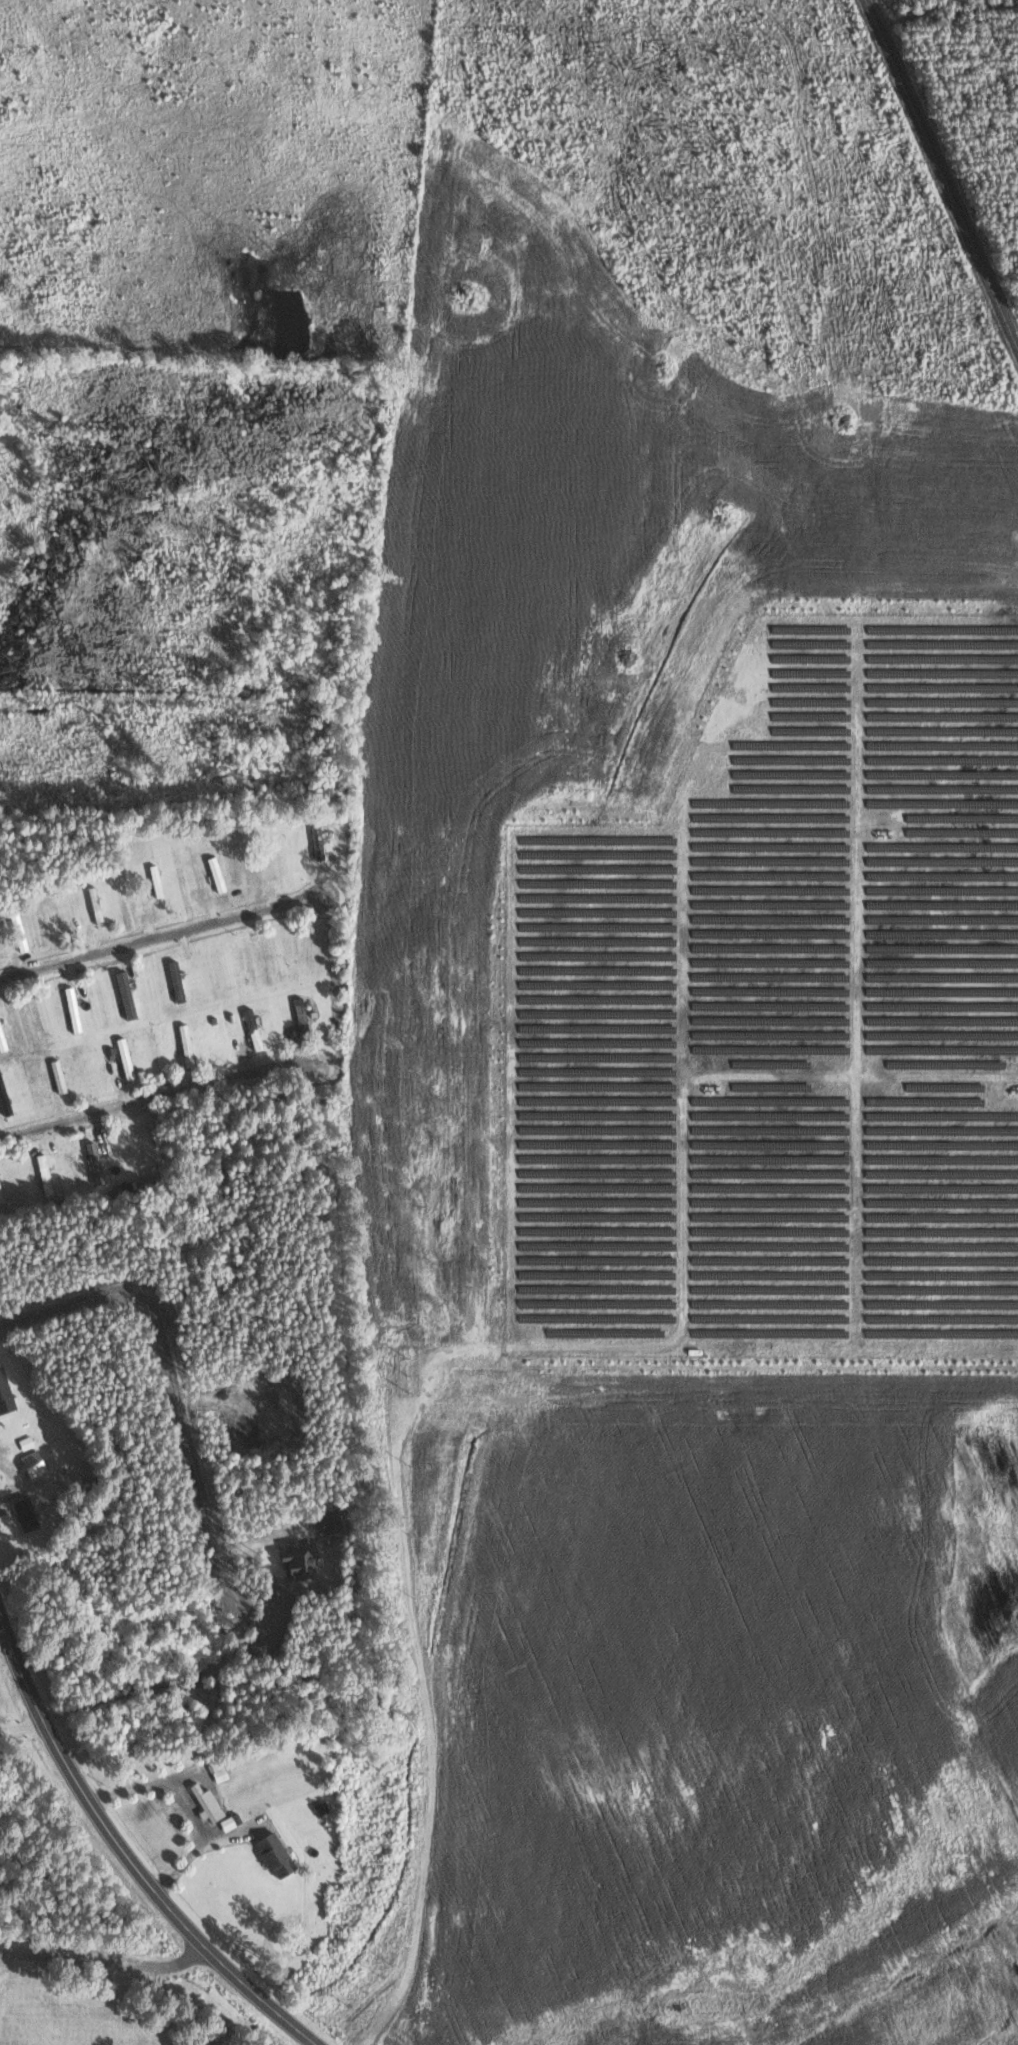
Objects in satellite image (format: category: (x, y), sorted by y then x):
railway: (942, 173)
building: (318, 842)
building: (217, 873)
road: (159, 940)
building: (177, 980)
building: (71, 999)
building: (302, 1015)
building: (2, 1040)
building: (258, 1043)
road: (156, 1096)
building: (96, 1162)
building: (5, 1393)
building: (34, 1463)
building: (26, 1513)
road: (424, 1673)
road: (20, 1727)
road: (188, 1803)
building: (208, 1803)
building: (276, 1855)
road: (125, 1857)
road: (110, 1961)
park: (91, 1997)

